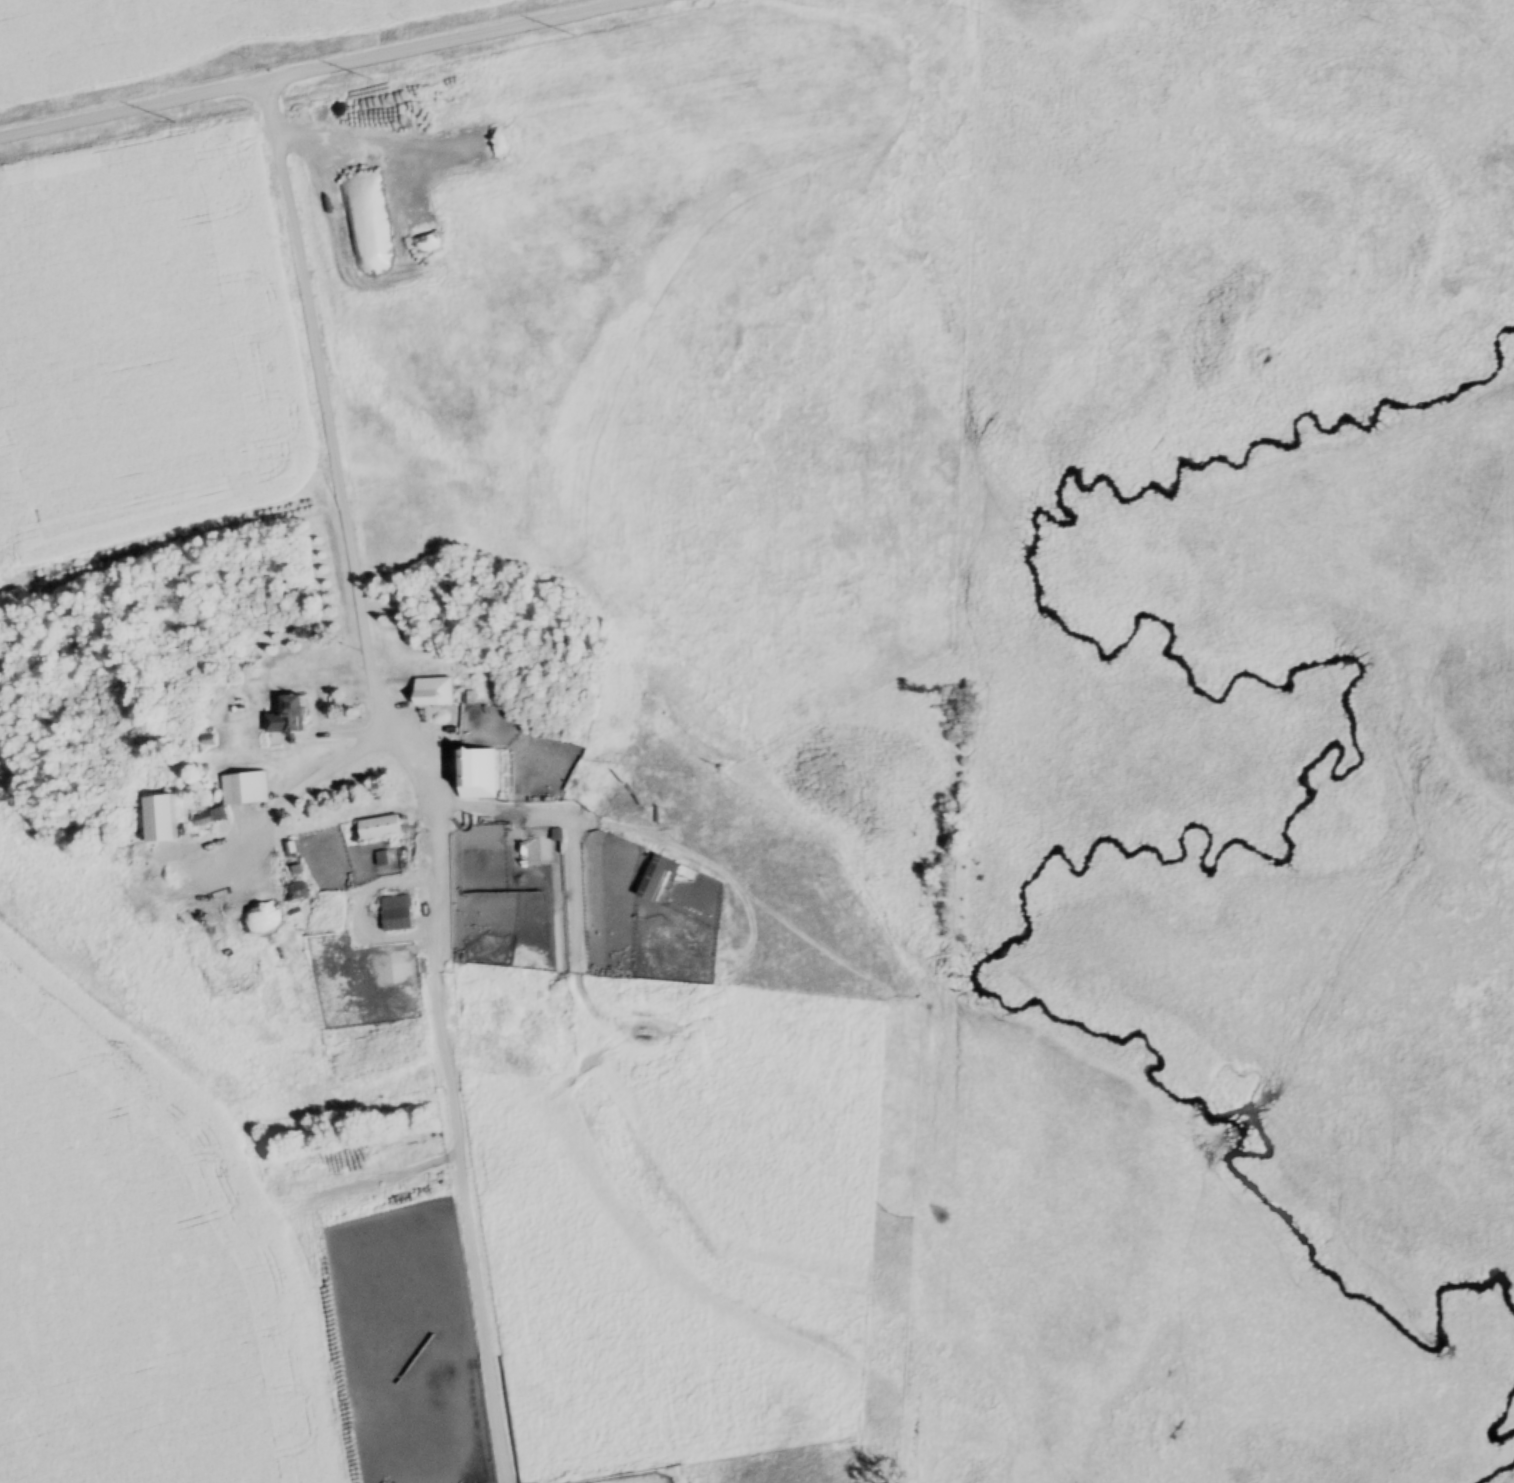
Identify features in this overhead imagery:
road: (319, 69)
road: (344, 515)
building: (439, 693)
building: (293, 715)
building: (479, 771)
building: (249, 790)
building: (209, 819)
building: (379, 829)
building: (656, 878)
building: (272, 899)
building: (397, 915)

